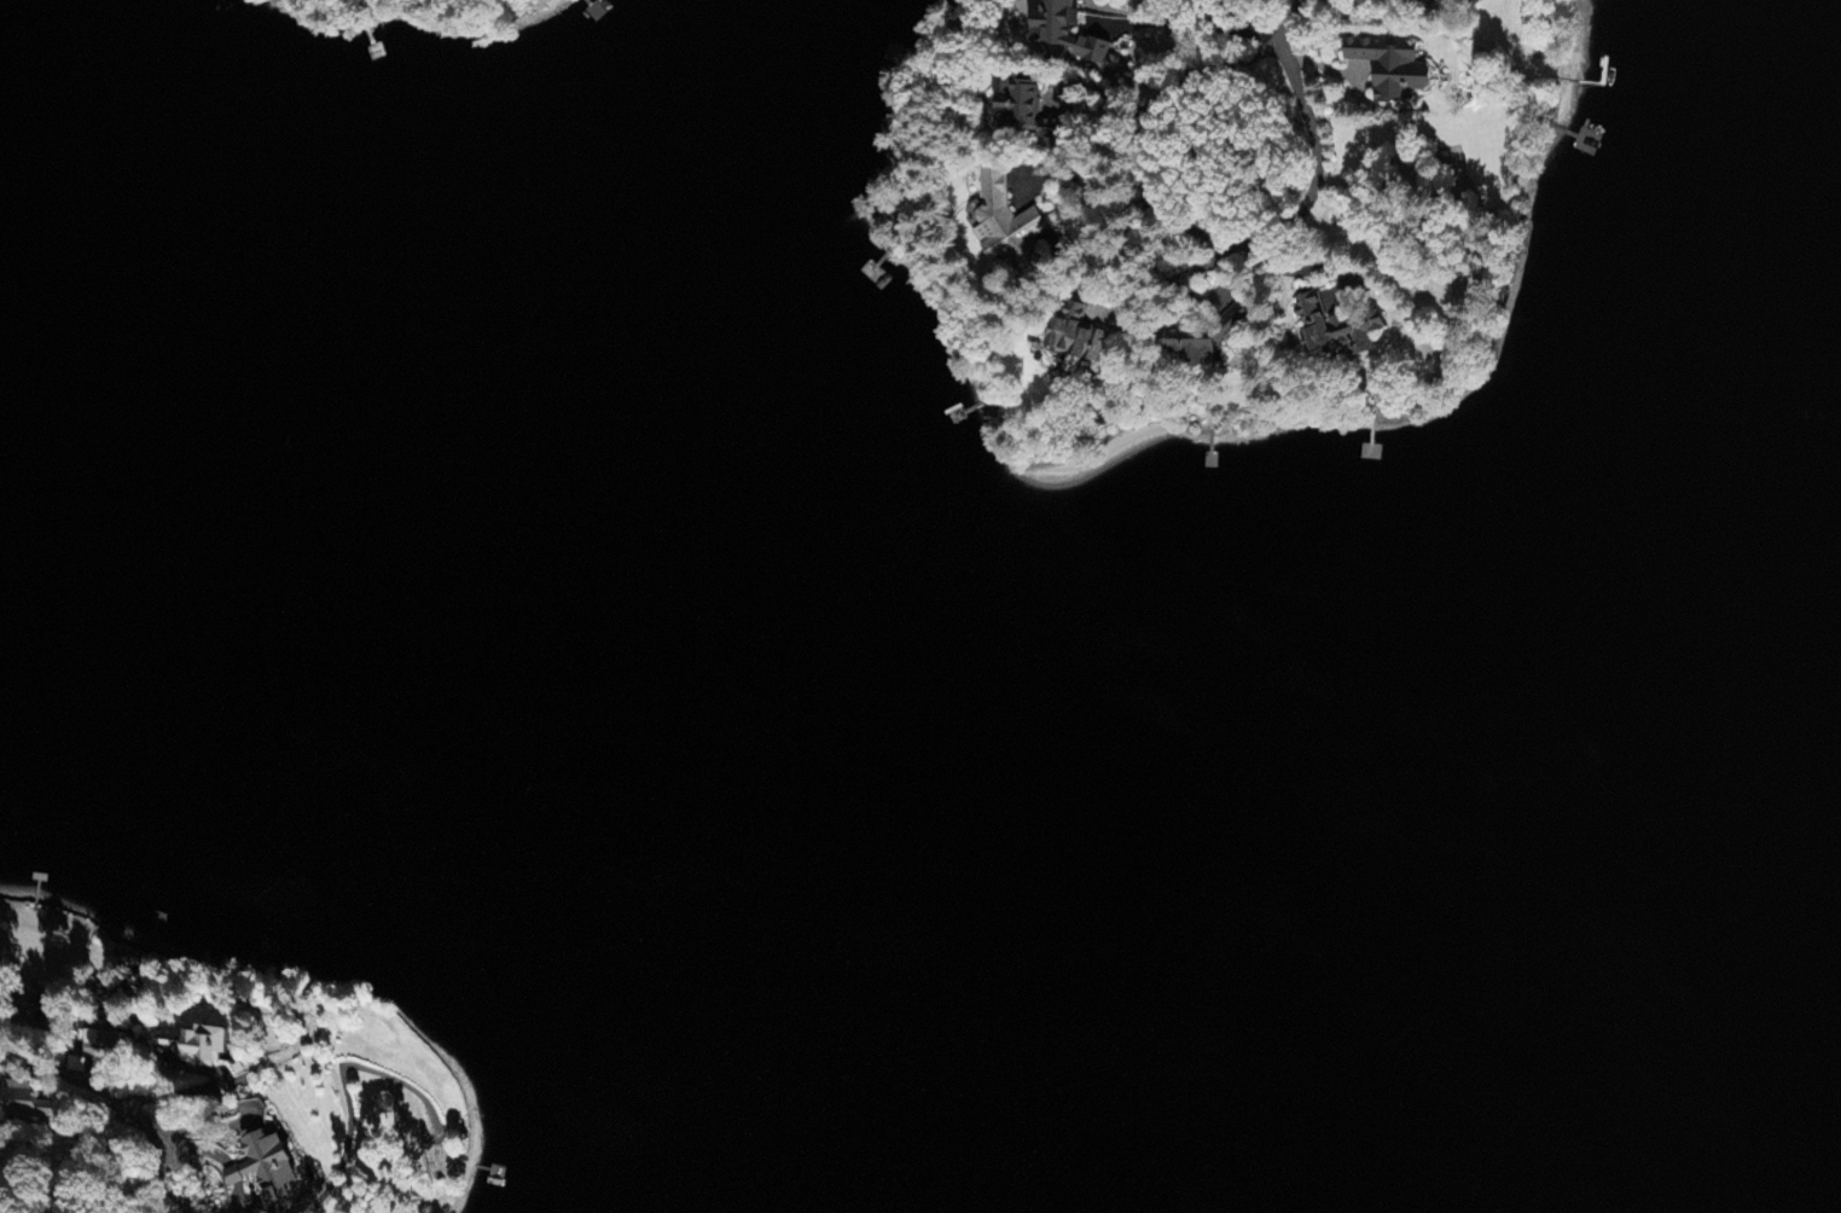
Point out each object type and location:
road: (1289, 28)
building: (1064, 31)
building: (1390, 68)
building: (1017, 106)
building: (1049, 129)
building: (1004, 224)
road: (1194, 236)
building: (1335, 330)
building: (1074, 336)
river: (870, 671)
building: (203, 1046)
building: (29, 1103)
road: (87, 1137)
building: (263, 1168)

